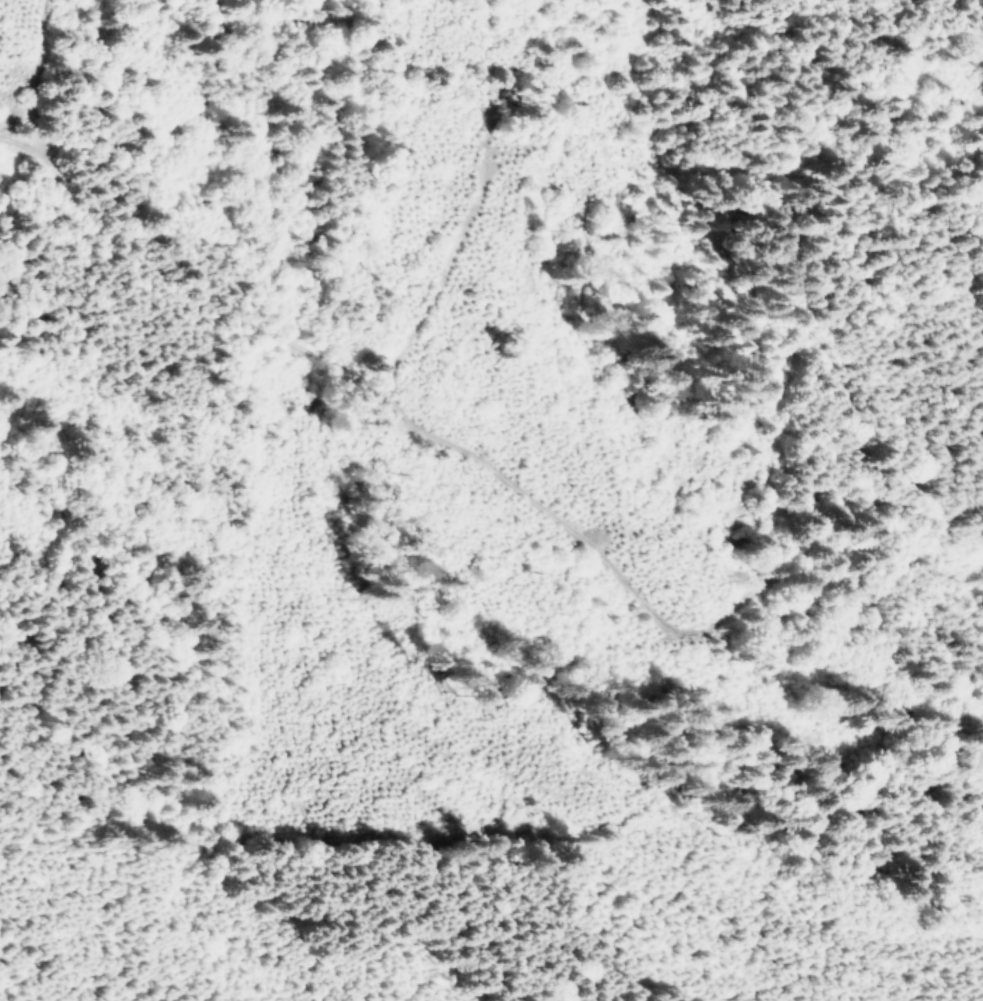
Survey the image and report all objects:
road: (128, 248)
road: (868, 511)
road: (645, 570)
road: (516, 969)

